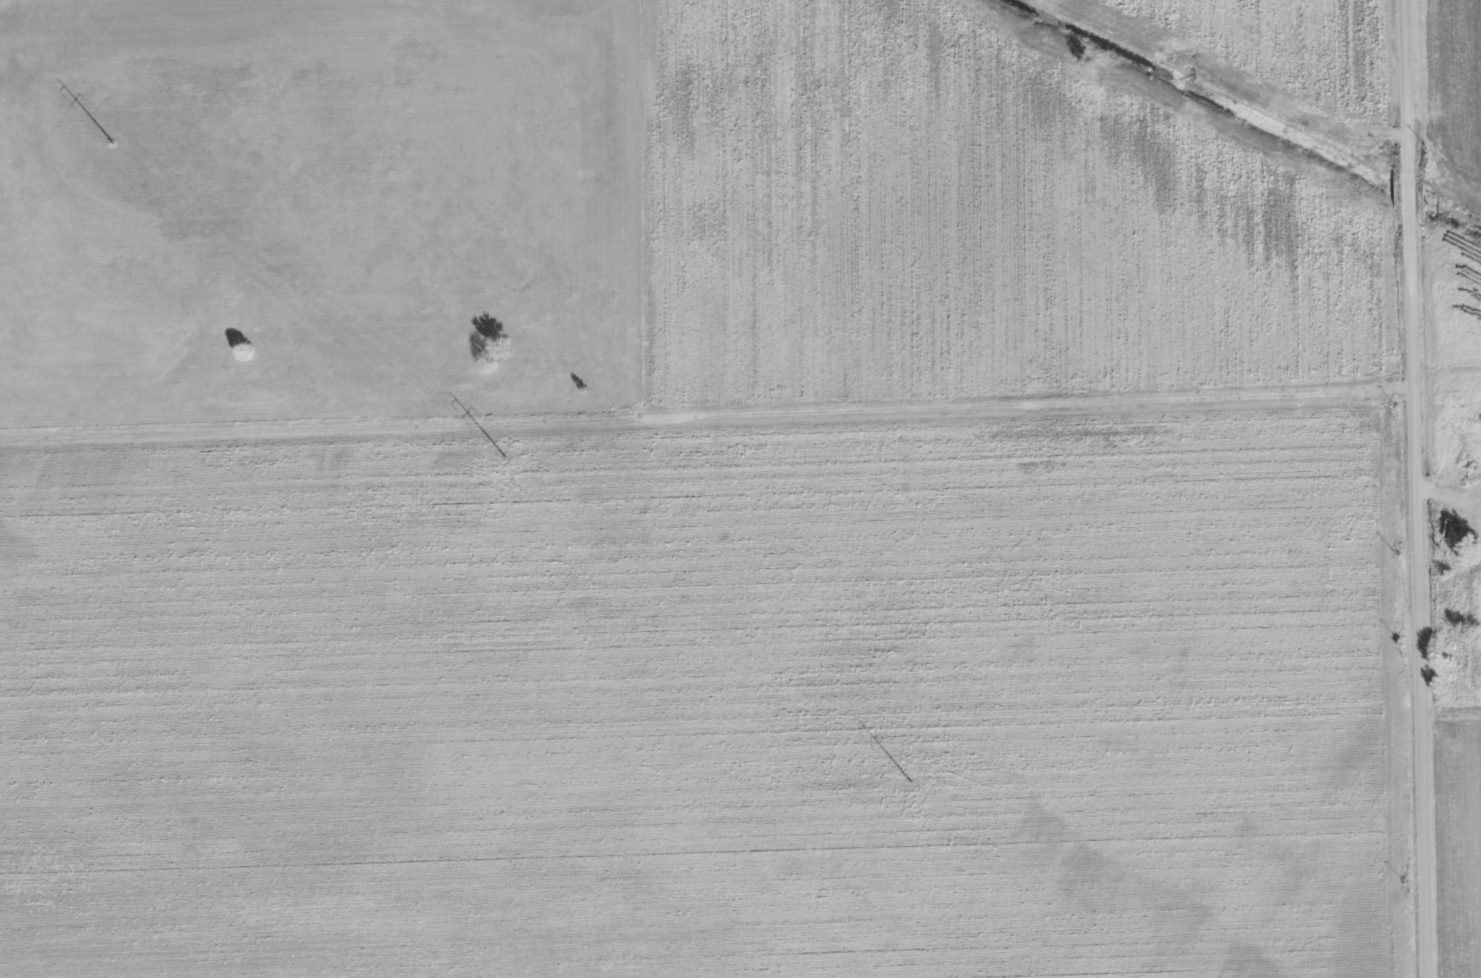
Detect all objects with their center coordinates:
power tower: (109, 142)
power tower: (504, 455)
road: (1413, 488)
road: (1453, 490)
power tower: (914, 782)

